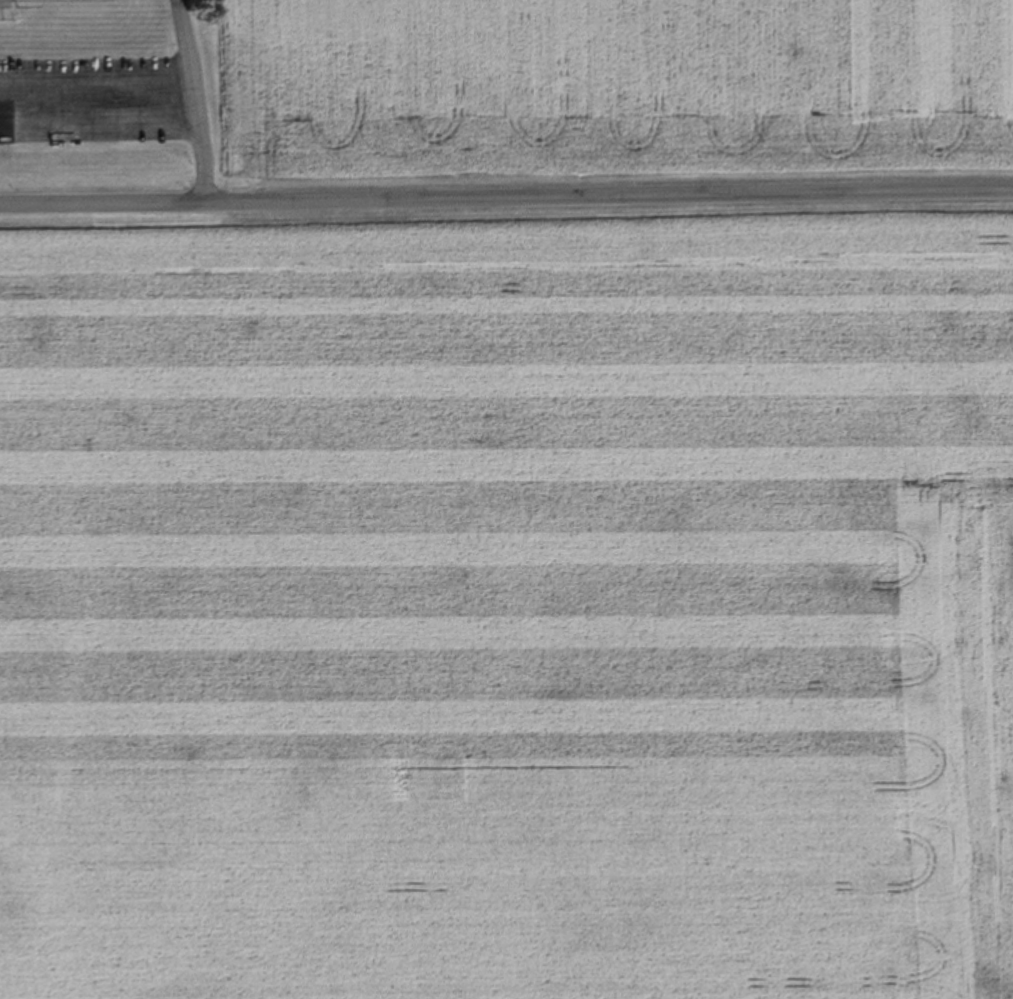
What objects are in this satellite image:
park: (62, 1)
road: (95, 78)
parking lot: (90, 98)
road: (193, 102)
road: (98, 118)
road: (506, 204)

